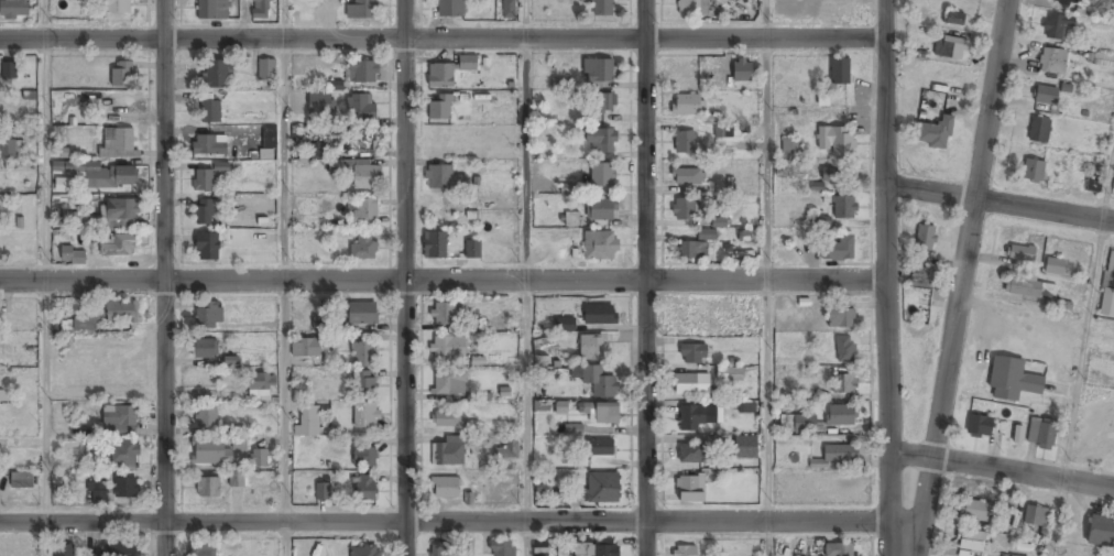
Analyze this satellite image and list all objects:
building: (1067, 1)
building: (1105, 6)
building: (117, 7)
building: (602, 7)
building: (692, 7)
building: (451, 8)
building: (797, 8)
building: (13, 9)
building: (212, 9)
building: (261, 9)
building: (361, 9)
building: (509, 9)
building: (953, 18)
road: (43, 20)
road: (282, 20)
road: (526, 20)
road: (767, 20)
building: (1057, 25)
road: (441, 40)
building: (950, 46)
building: (1051, 61)
building: (1103, 61)
building: (468, 64)
building: (743, 69)
building: (9, 70)
building: (266, 70)
building: (361, 70)
building: (599, 70)
building: (840, 70)
building: (216, 74)
building: (122, 75)
building: (441, 76)
building: (1045, 95)
building: (319, 103)
building: (604, 103)
building: (688, 105)
building: (361, 107)
building: (440, 109)
building: (210, 112)
building: (1039, 129)
building: (724, 130)
building: (935, 132)
building: (359, 140)
building: (836, 140)
building: (601, 141)
building: (118, 143)
building: (685, 143)
building: (207, 146)
building: (791, 148)
building: (11, 151)
building: (316, 151)
building: (220, 166)
building: (1033, 171)
building: (102, 174)
building: (838, 175)
building: (367, 176)
building: (440, 176)
building: (602, 176)
building: (688, 177)
building: (204, 182)
road: (164, 190)
road: (998, 203)
building: (844, 208)
building: (602, 209)
building: (684, 210)
building: (121, 211)
building: (204, 214)
building: (363, 214)
building: (571, 218)
building: (719, 222)
road: (884, 225)
road: (968, 228)
building: (925, 237)
building: (749, 238)
building: (435, 243)
building: (601, 246)
building: (117, 247)
building: (363, 247)
building: (696, 247)
building: (207, 248)
building: (473, 248)
building: (839, 250)
building: (1020, 252)
building: (73, 257)
road: (646, 260)
road: (405, 261)
building: (1053, 266)
building: (1108, 271)
building: (920, 277)
road: (441, 280)
building: (1028, 286)
road: (46, 297)
road: (285, 297)
road: (528, 297)
road: (768, 297)
building: (1106, 302)
building: (121, 312)
building: (359, 314)
building: (443, 314)
building: (601, 315)
building: (206, 317)
building: (841, 318)
building: (319, 323)
building: (80, 324)
building: (566, 326)
building: (543, 347)
building: (449, 348)
building: (306, 349)
building: (591, 349)
building: (205, 350)
building: (844, 350)
building: (363, 355)
building: (692, 355)
road: (1083, 370)
building: (729, 373)
building: (1012, 379)
building: (599, 382)
building: (261, 383)
building: (364, 383)
building: (450, 384)
building: (844, 384)
building: (688, 386)
building: (561, 406)
building: (746, 407)
building: (603, 414)
building: (119, 416)
building: (367, 416)
building: (841, 416)
building: (206, 418)
building: (696, 418)
building: (447, 419)
building: (308, 422)
building: (805, 424)
building: (979, 425)
building: (1040, 432)
building: (1017, 434)
building: (237, 437)
building: (509, 447)
building: (600, 448)
building: (746, 448)
building: (124, 451)
building: (209, 453)
building: (449, 453)
building: (691, 455)
building: (840, 455)
building: (364, 457)
building: (259, 460)
road: (1000, 468)
road: (165, 469)
building: (238, 478)
building: (21, 480)
building: (208, 488)
building: (445, 488)
building: (124, 489)
building: (364, 489)
building: (603, 489)
building: (97, 490)
building: (690, 490)
building: (323, 492)
road: (886, 502)
road: (920, 506)
building: (974, 510)
building: (1036, 515)
road: (444, 522)
building: (1003, 522)
building: (1100, 531)
road: (645, 538)
road: (405, 539)
building: (971, 539)
building: (503, 548)
building: (441, 549)
building: (540, 549)
building: (596, 549)
building: (64, 550)
building: (120, 550)
building: (201, 550)
building: (839, 550)
building: (363, 552)
building: (685, 552)
building: (90, 555)
building: (1012, 555)

